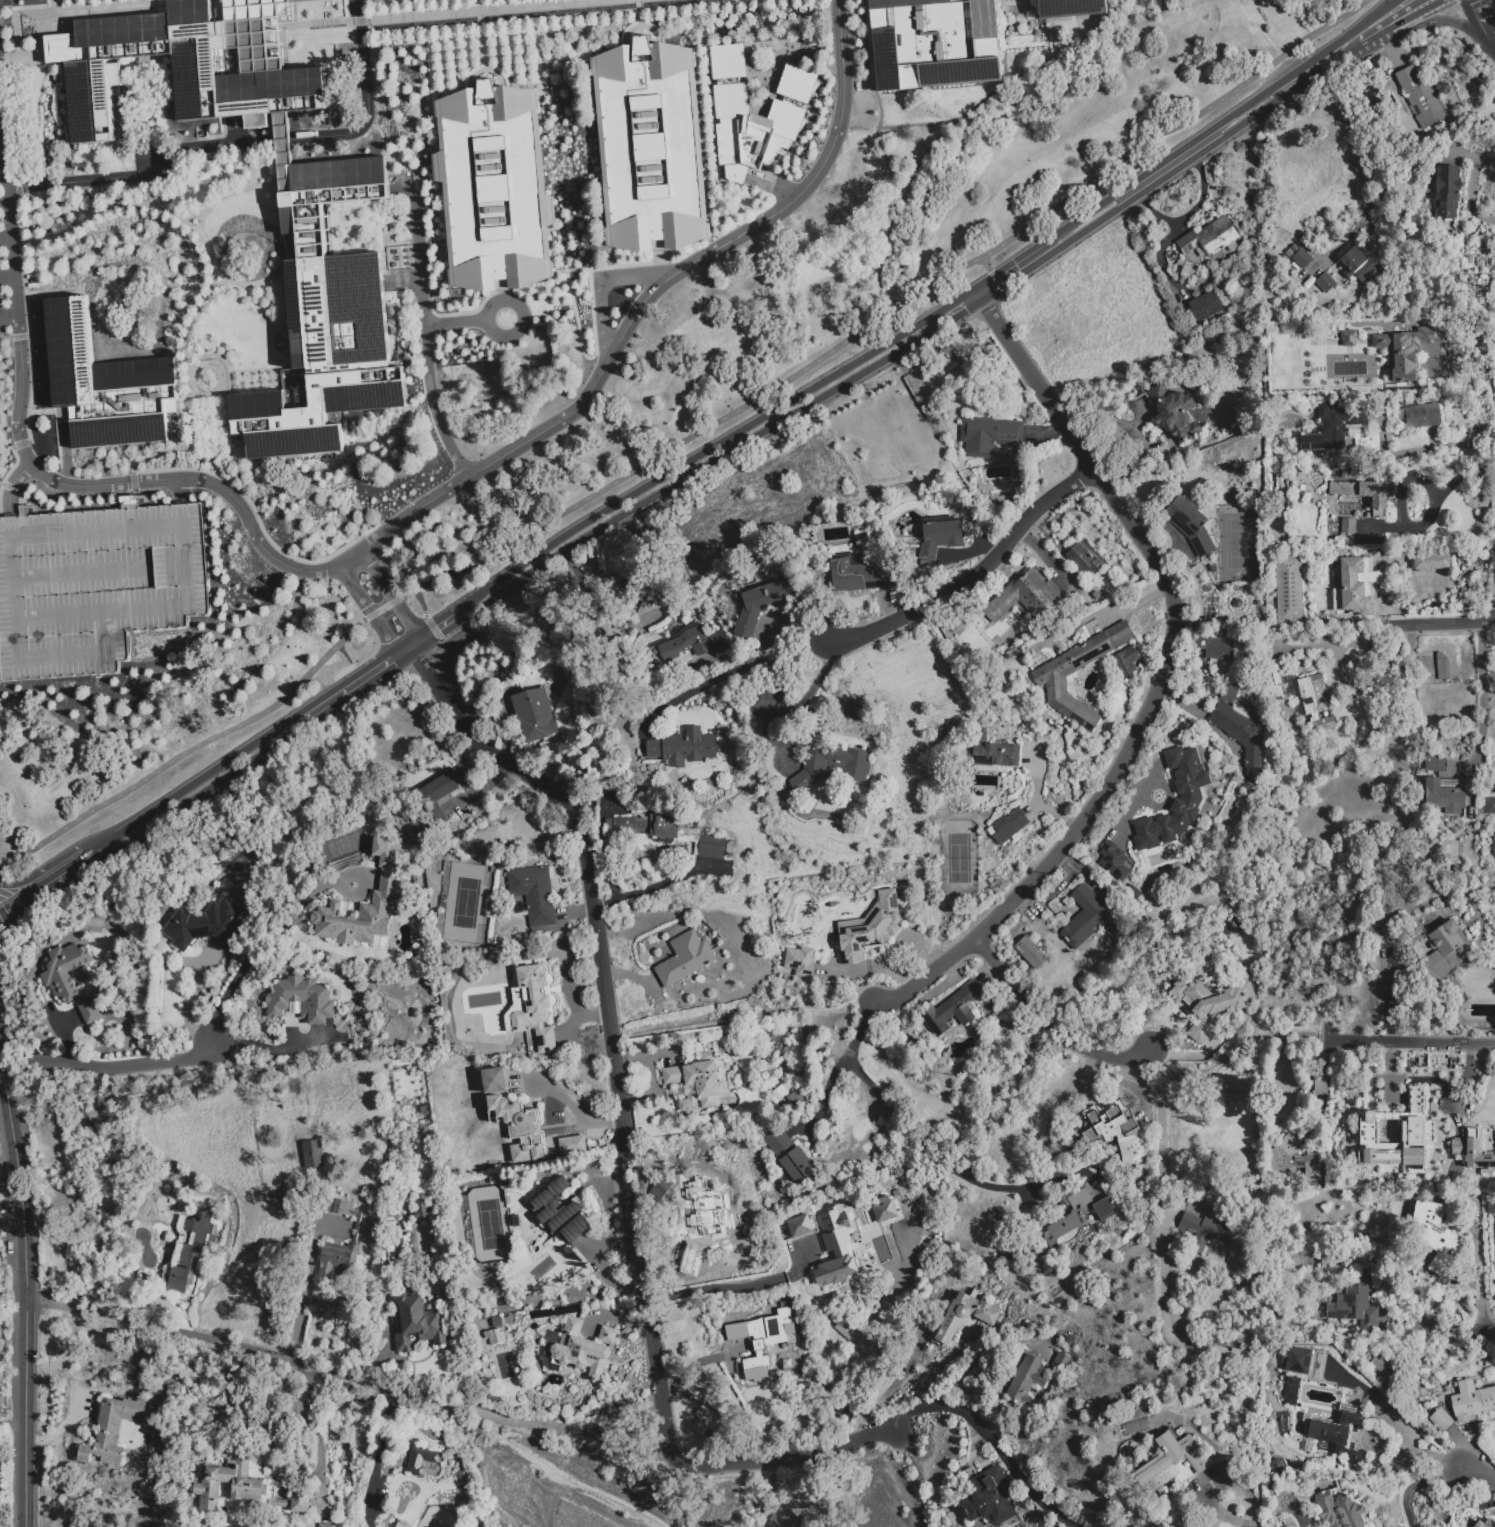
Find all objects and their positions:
road: (1, 0)
building: (308, 1)
road: (1016, 2)
road: (478, 6)
building: (1071, 8)
road: (217, 11)
road: (447, 14)
road: (1477, 16)
road: (1408, 18)
road: (867, 21)
road: (1429, 21)
road: (768, 30)
road: (244, 32)
road: (1075, 33)
building: (256, 34)
road: (1024, 35)
road: (1489, 38)
road: (1367, 40)
building: (934, 43)
road: (1052, 45)
building: (727, 61)
building: (177, 74)
building: (797, 84)
building: (1421, 98)
road: (366, 100)
road: (977, 108)
building: (784, 120)
building: (729, 121)
road: (1220, 125)
road: (284, 141)
building: (652, 146)
road: (1, 163)
road: (144, 172)
building: (1426, 179)
road: (153, 185)
building: (494, 188)
road: (1469, 189)
building: (1447, 192)
building: (325, 197)
road: (3, 200)
road: (60, 201)
road: (105, 210)
road: (1189, 214)
road: (191, 217)
road: (278, 217)
road: (71, 218)
road: (9, 230)
road: (5, 239)
building: (1210, 239)
building: (1294, 249)
building: (1303, 261)
road: (984, 263)
building: (1358, 264)
road: (613, 266)
road: (1007, 268)
road: (635, 275)
road: (6, 278)
road: (996, 281)
building: (1325, 283)
road: (247, 284)
road: (222, 288)
parking lot: (3, 296)
road: (203, 304)
building: (1203, 305)
road: (889, 307)
road: (8, 315)
road: (456, 323)
road: (603, 328)
road: (425, 329)
road: (491, 329)
building: (346, 334)
road: (579, 337)
building: (1349, 339)
building: (1405, 349)
road: (895, 351)
building: (1339, 363)
road: (221, 381)
building: (106, 384)
building: (1173, 413)
building: (1421, 416)
building: (285, 428)
building: (1332, 430)
building: (989, 436)
road: (725, 439)
building: (1123, 439)
road: (179, 447)
road: (1421, 449)
road: (474, 476)
road: (11, 486)
road: (179, 490)
building: (1368, 495)
building: (1191, 526)
building: (1348, 526)
building: (941, 537)
building: (1083, 560)
building: (1432, 563)
building: (860, 574)
road: (973, 575)
building: (1354, 584)
building: (94, 586)
parking garage: (94, 586)
building: (1289, 590)
building: (1025, 596)
road: (420, 601)
building: (764, 603)
road: (397, 605)
road: (382, 608)
road: (447, 612)
road: (373, 621)
road: (1445, 623)
road: (432, 628)
building: (1196, 629)
building: (1276, 636)
road: (404, 642)
road: (1351, 642)
building: (687, 646)
building: (1216, 647)
road: (412, 653)
road: (345, 658)
building: (1127, 663)
building: (1442, 667)
road: (728, 674)
road: (1160, 676)
building: (1048, 681)
building: (1285, 688)
road: (352, 693)
road: (805, 697)
road: (1485, 701)
building: (1315, 703)
building: (535, 718)
road: (1204, 720)
building: (1240, 729)
road: (247, 745)
building: (686, 747)
road: (187, 750)
building: (996, 751)
building: (1435, 764)
building: (829, 766)
road: (1130, 785)
road: (1163, 789)
building: (1445, 795)
building: (438, 796)
road: (1038, 798)
building: (1176, 801)
building: (1490, 806)
road: (1131, 814)
road: (152, 827)
building: (644, 827)
building: (1010, 828)
building: (711, 847)
building: (735, 847)
building: (1493, 848)
building: (1114, 860)
road: (51, 863)
road: (51, 877)
building: (534, 894)
building: (175, 901)
building: (199, 903)
building: (519, 907)
building: (361, 908)
building: (1092, 923)
building: (206, 925)
building: (869, 927)
road: (2, 937)
road: (265, 940)
building: (1445, 952)
building: (1032, 955)
building: (685, 959)
building: (800, 961)
building: (68, 979)
building: (1208, 997)
road: (186, 999)
building: (301, 1000)
building: (1396, 1005)
building: (535, 1007)
building: (953, 1012)
road: (741, 1018)
road: (1048, 1023)
road: (1406, 1041)
road: (1227, 1049)
road: (112, 1065)
building: (1475, 1077)
building: (495, 1079)
building: (696, 1083)
road: (829, 1085)
building: (1321, 1085)
building: (1390, 1088)
road: (575, 1111)
building: (519, 1126)
building: (1114, 1130)
building: (1384, 1131)
building: (1076, 1134)
building: (1416, 1134)
road: (622, 1139)
building: (573, 1144)
road: (918, 1145)
building: (312, 1152)
building: (1475, 1155)
building: (791, 1158)
building: (1295, 1160)
building: (666, 1190)
road: (1162, 1196)
building: (1470, 1203)
road: (11, 1205)
building: (421, 1208)
building: (1082, 1208)
building: (1491, 1208)
building: (883, 1209)
building: (561, 1210)
building: (844, 1220)
building: (717, 1224)
building: (804, 1224)
building: (356, 1229)
building: (1438, 1231)
building: (1205, 1234)
building: (191, 1254)
building: (852, 1259)
road: (728, 1288)
road: (25, 1292)
road: (303, 1295)
building: (1356, 1303)
building: (564, 1310)
building: (964, 1315)
building: (497, 1322)
building: (417, 1323)
road: (1438, 1327)
building: (495, 1336)
road: (1491, 1336)
building: (755, 1344)
building: (579, 1349)
road: (204, 1355)
building: (1229, 1359)
building: (1297, 1360)
building: (792, 1361)
building: (1062, 1364)
building: (1378, 1364)
road: (346, 1379)
building: (1026, 1380)
road: (894, 1385)
building: (1291, 1390)
building: (1471, 1401)
road: (291, 1417)
building: (1441, 1420)
building: (707, 1421)
road: (12, 1424)
building: (115, 1429)
road: (57, 1432)
building: (1339, 1436)
road: (992, 1442)
road: (1367, 1444)
road: (1415, 1451)
road: (377, 1459)
building: (420, 1461)
building: (1172, 1461)
road: (1474, 1471)
road: (570, 1481)
park: (675, 1485)
road: (1416, 1485)
building: (1219, 1486)
building: (244, 1489)
road: (802, 1492)
building: (989, 1498)
building: (1340, 1509)
building: (1485, 1523)
building: (402, 1524)
building: (325, 1525)
road: (1240, 1525)

